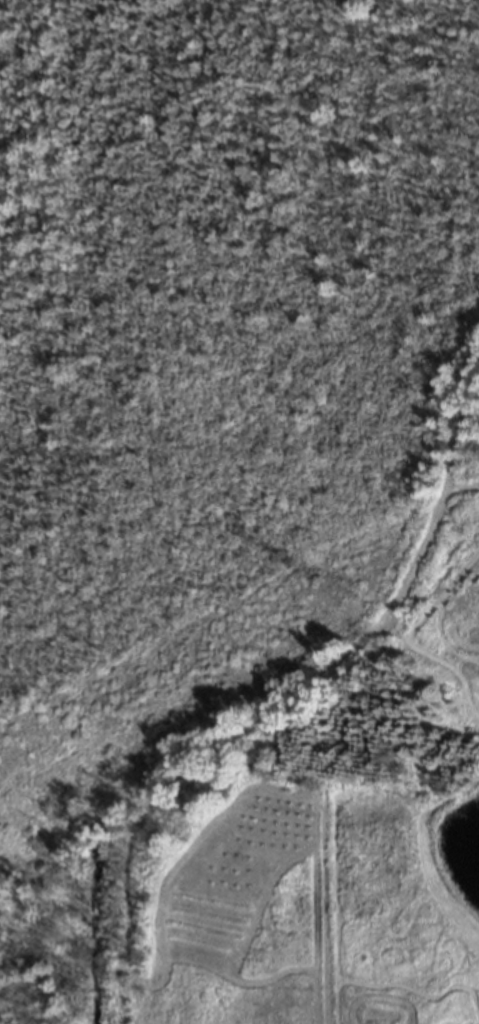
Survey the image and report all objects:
power tower: (341, 601)

